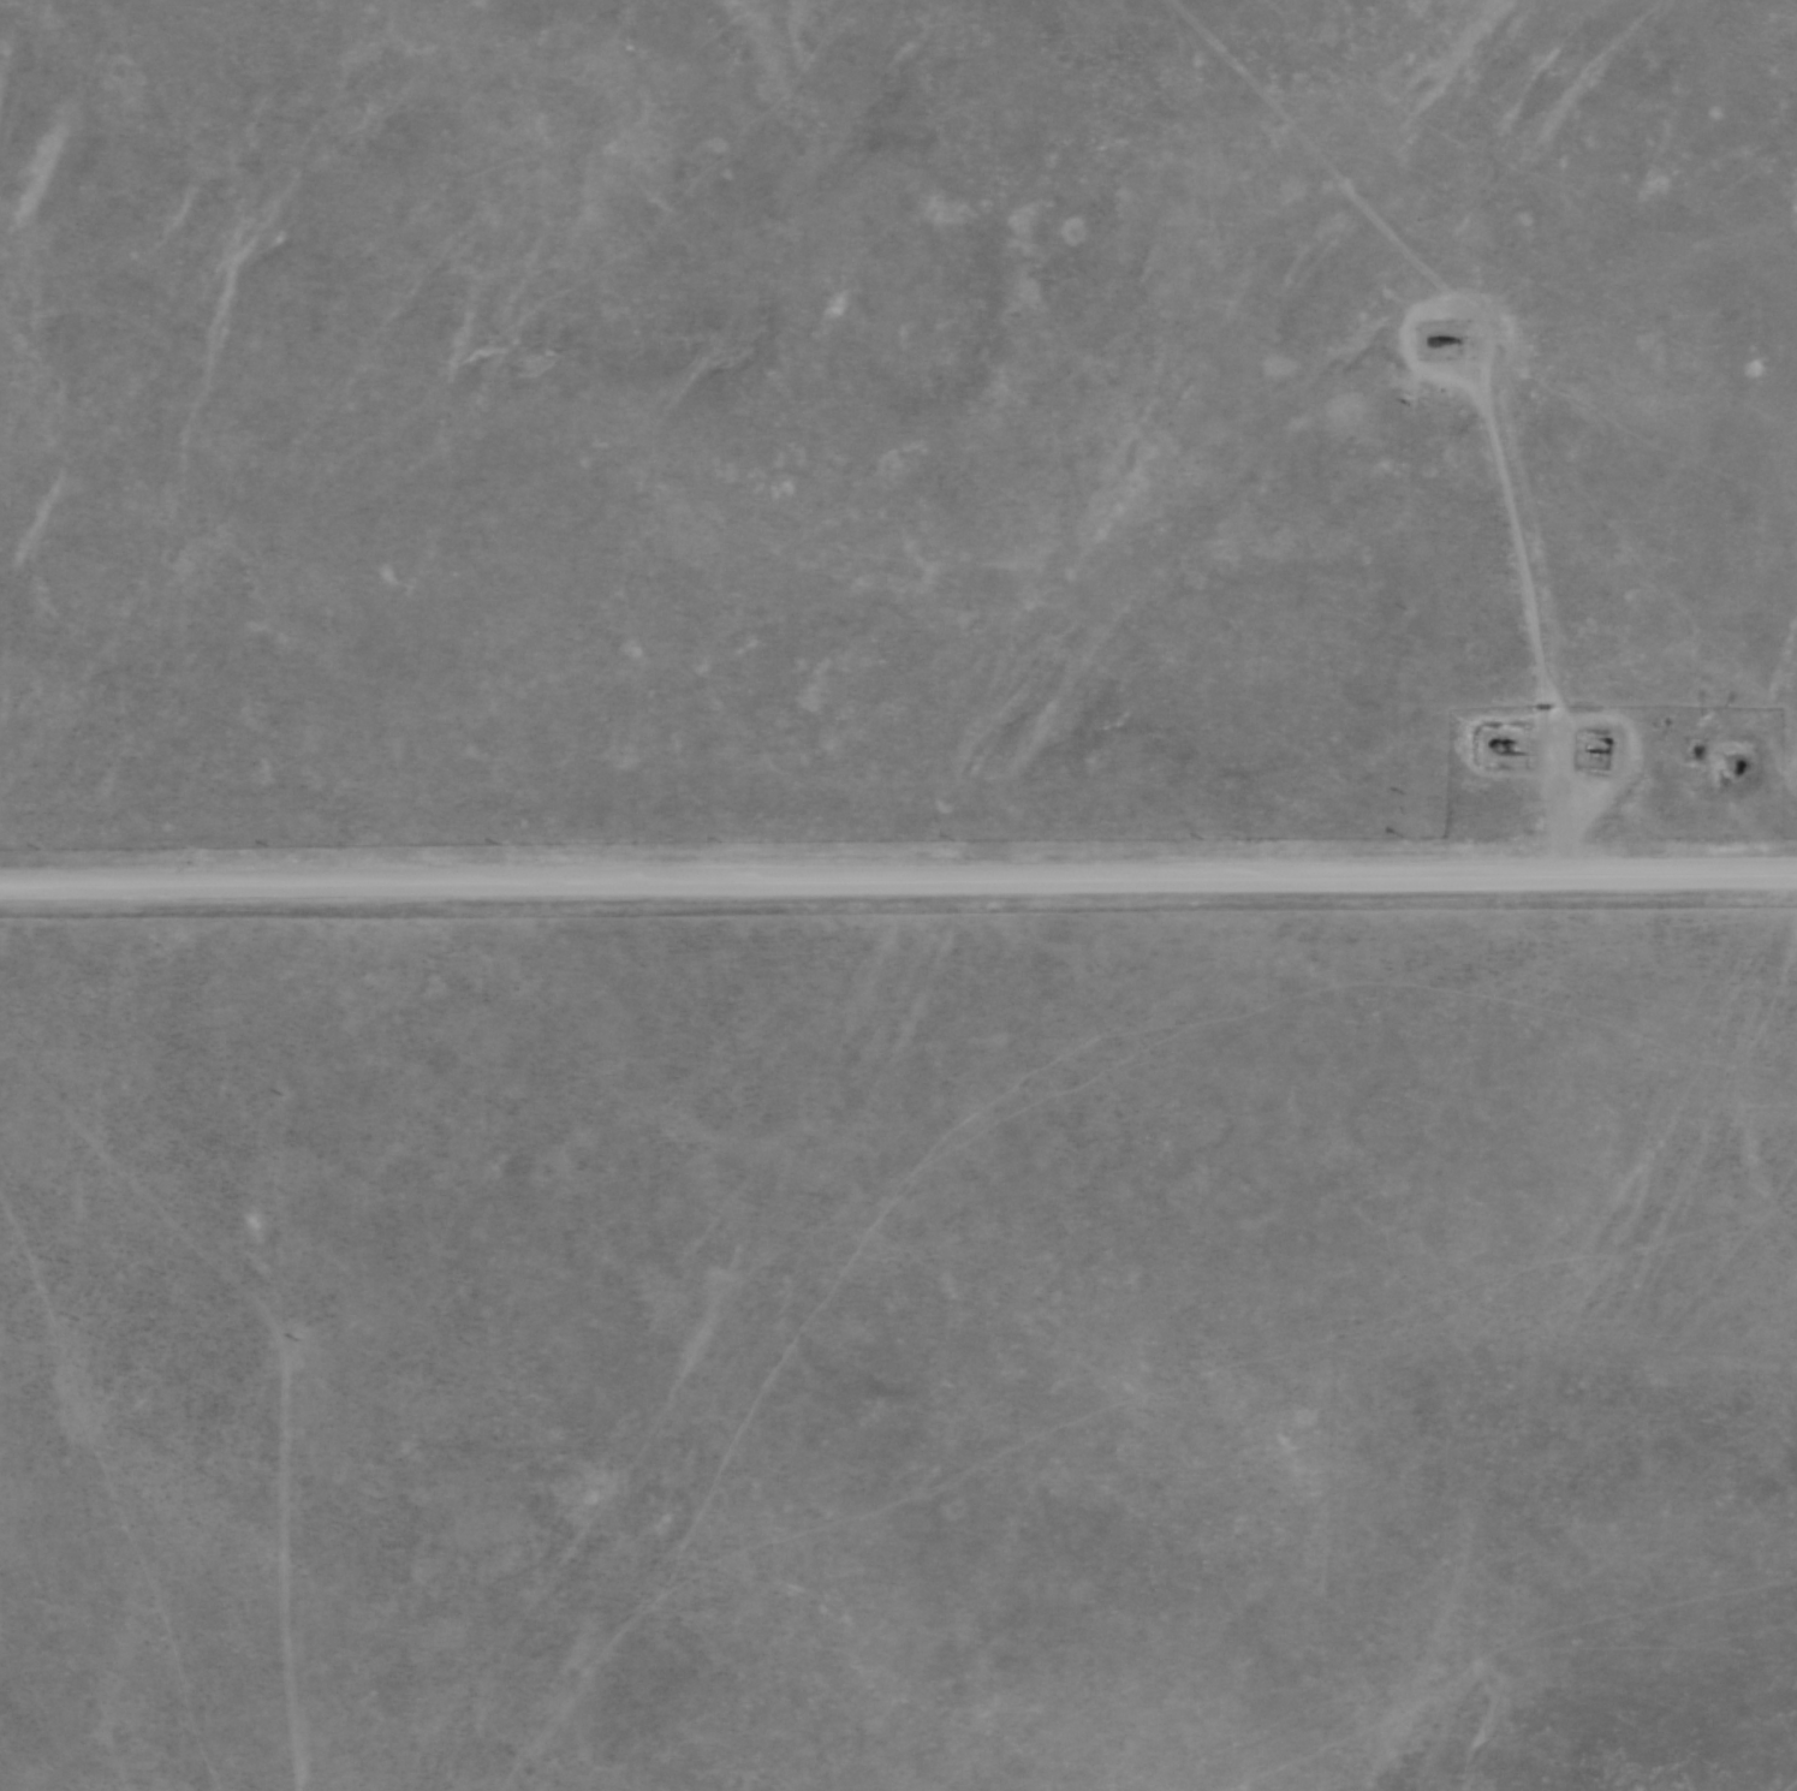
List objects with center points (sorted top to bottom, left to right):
road: (898, 880)

